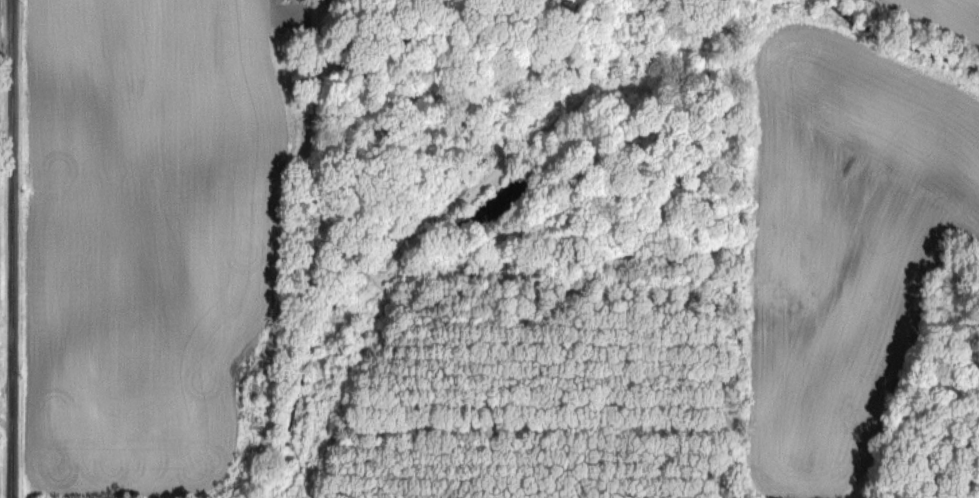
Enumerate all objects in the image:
road: (12, 249)

